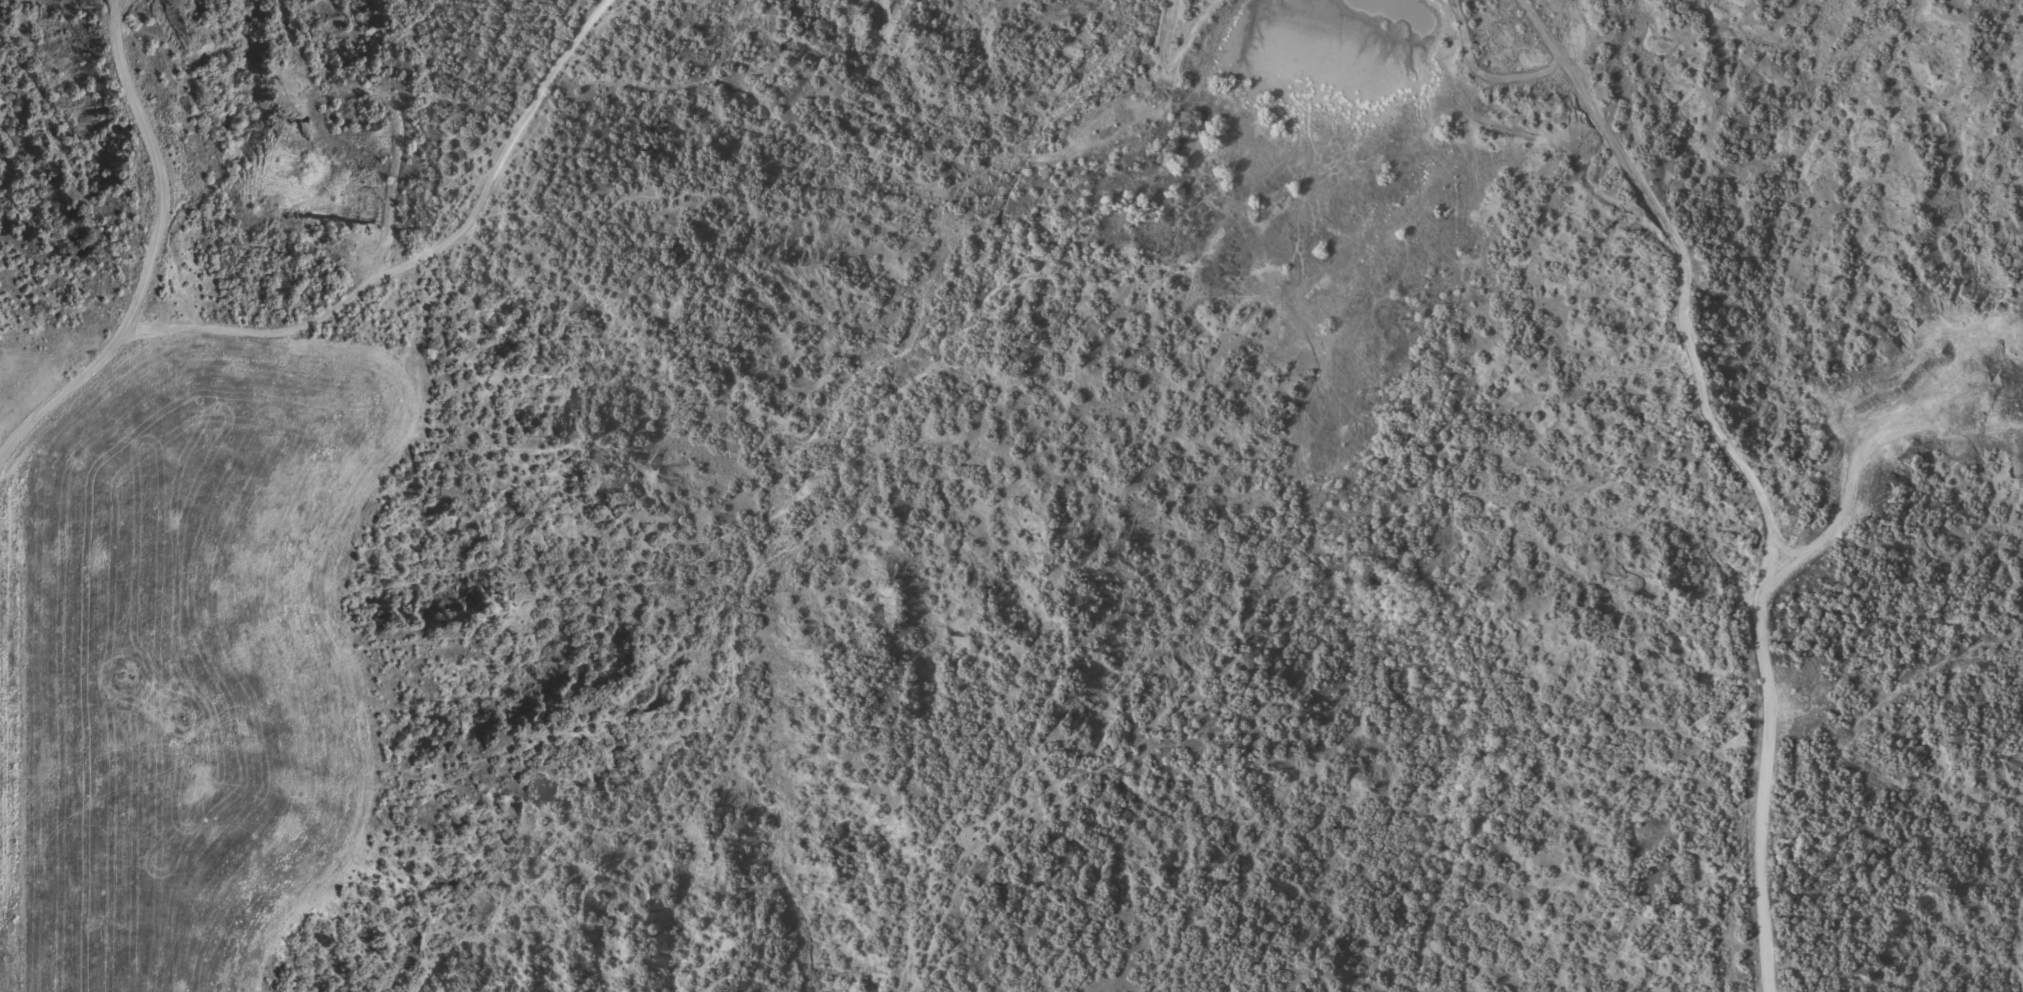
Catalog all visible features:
road: (156, 255)

